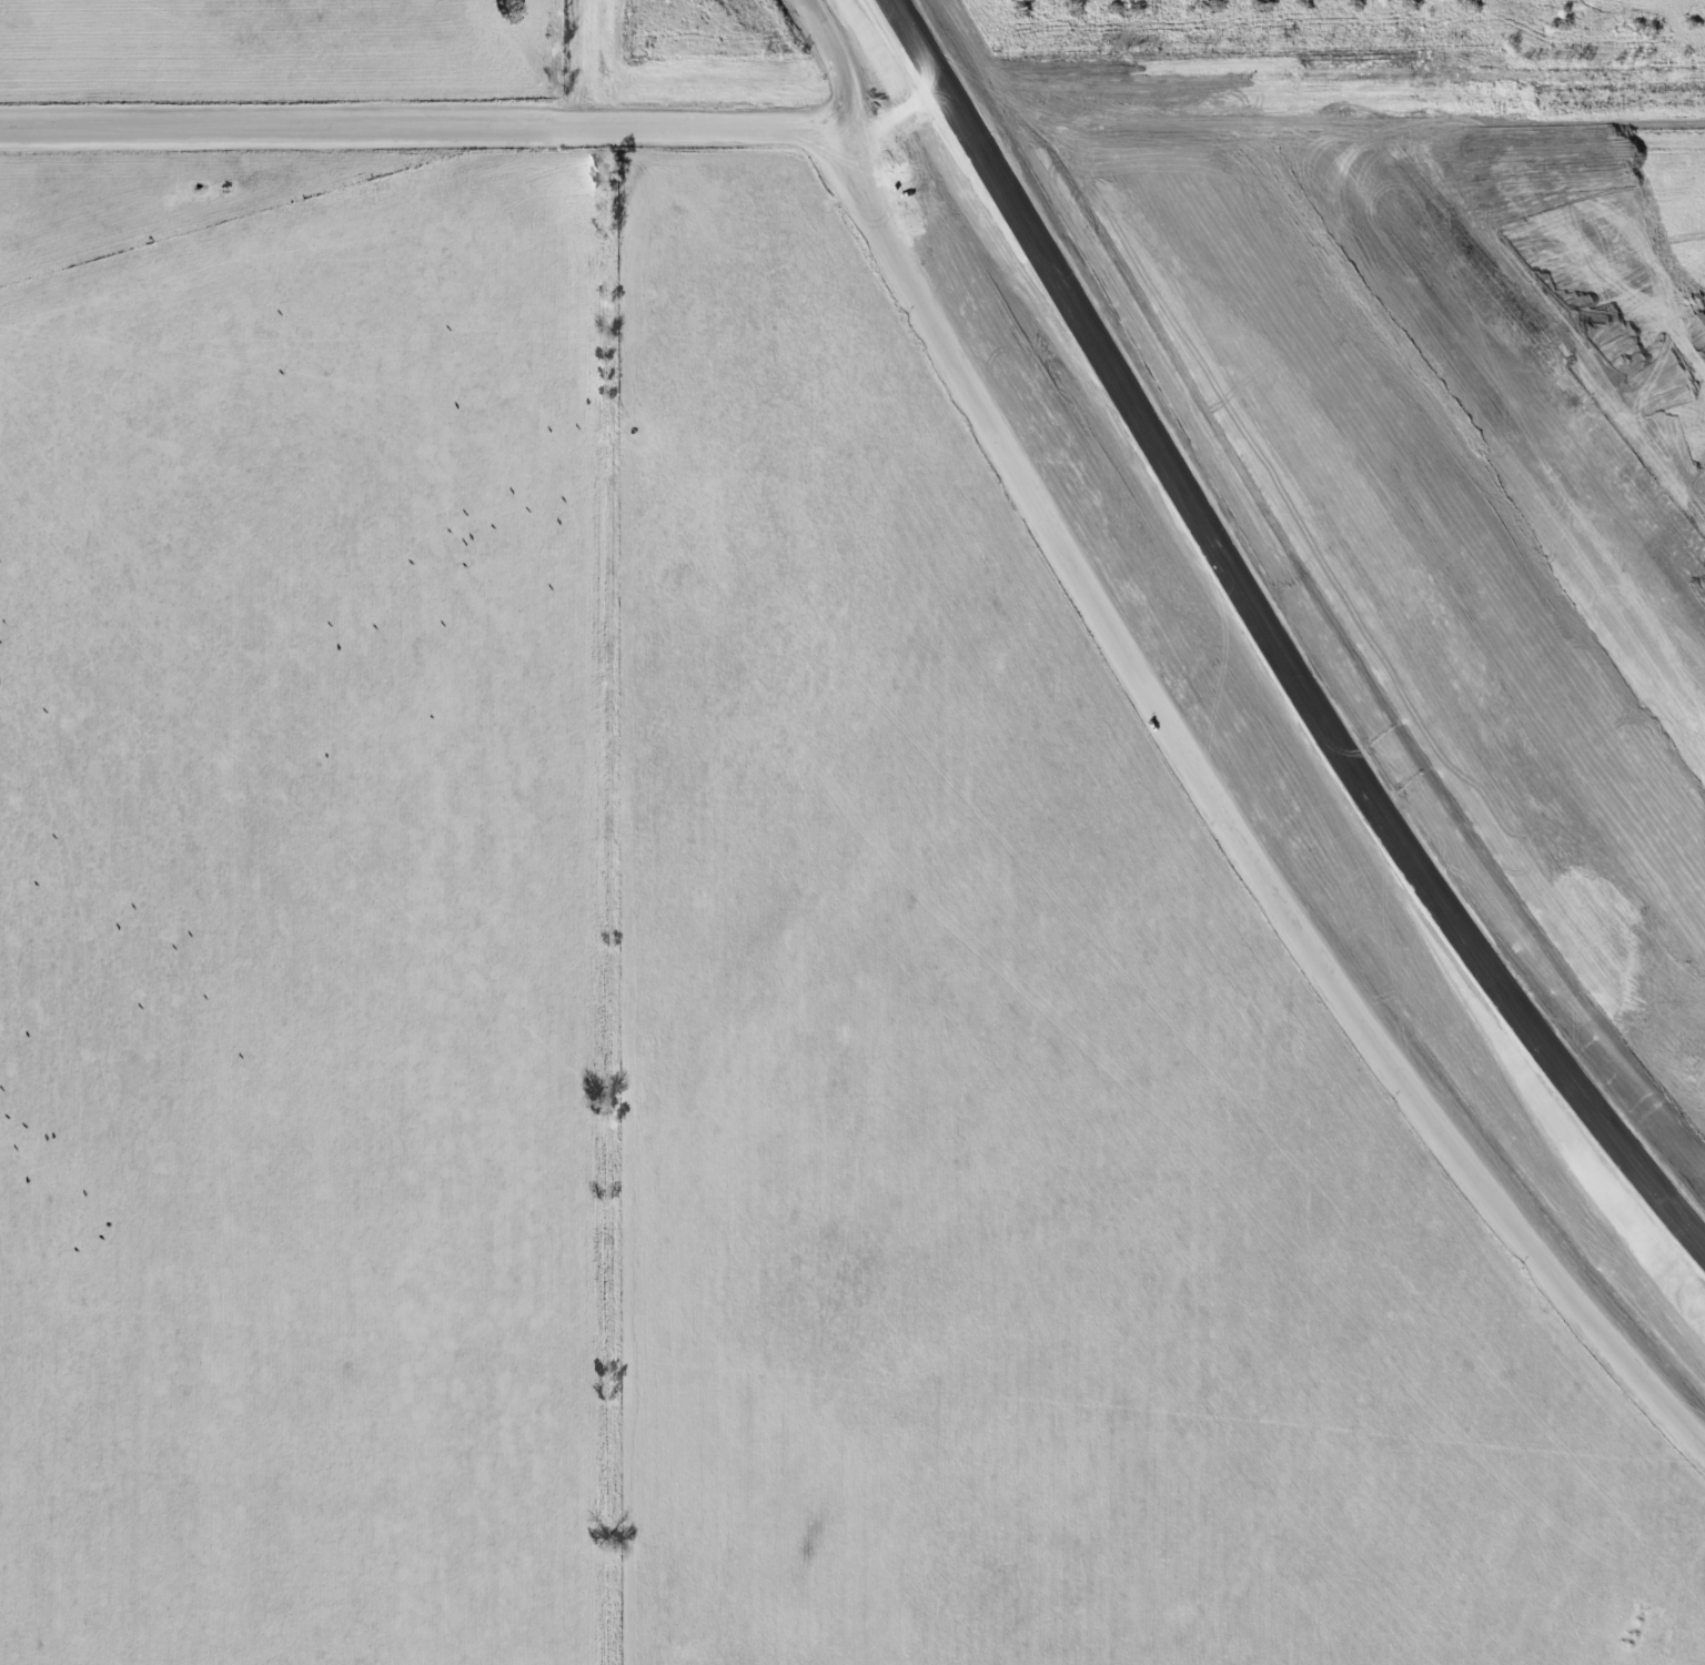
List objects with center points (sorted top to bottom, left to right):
road: (1259, 647)

